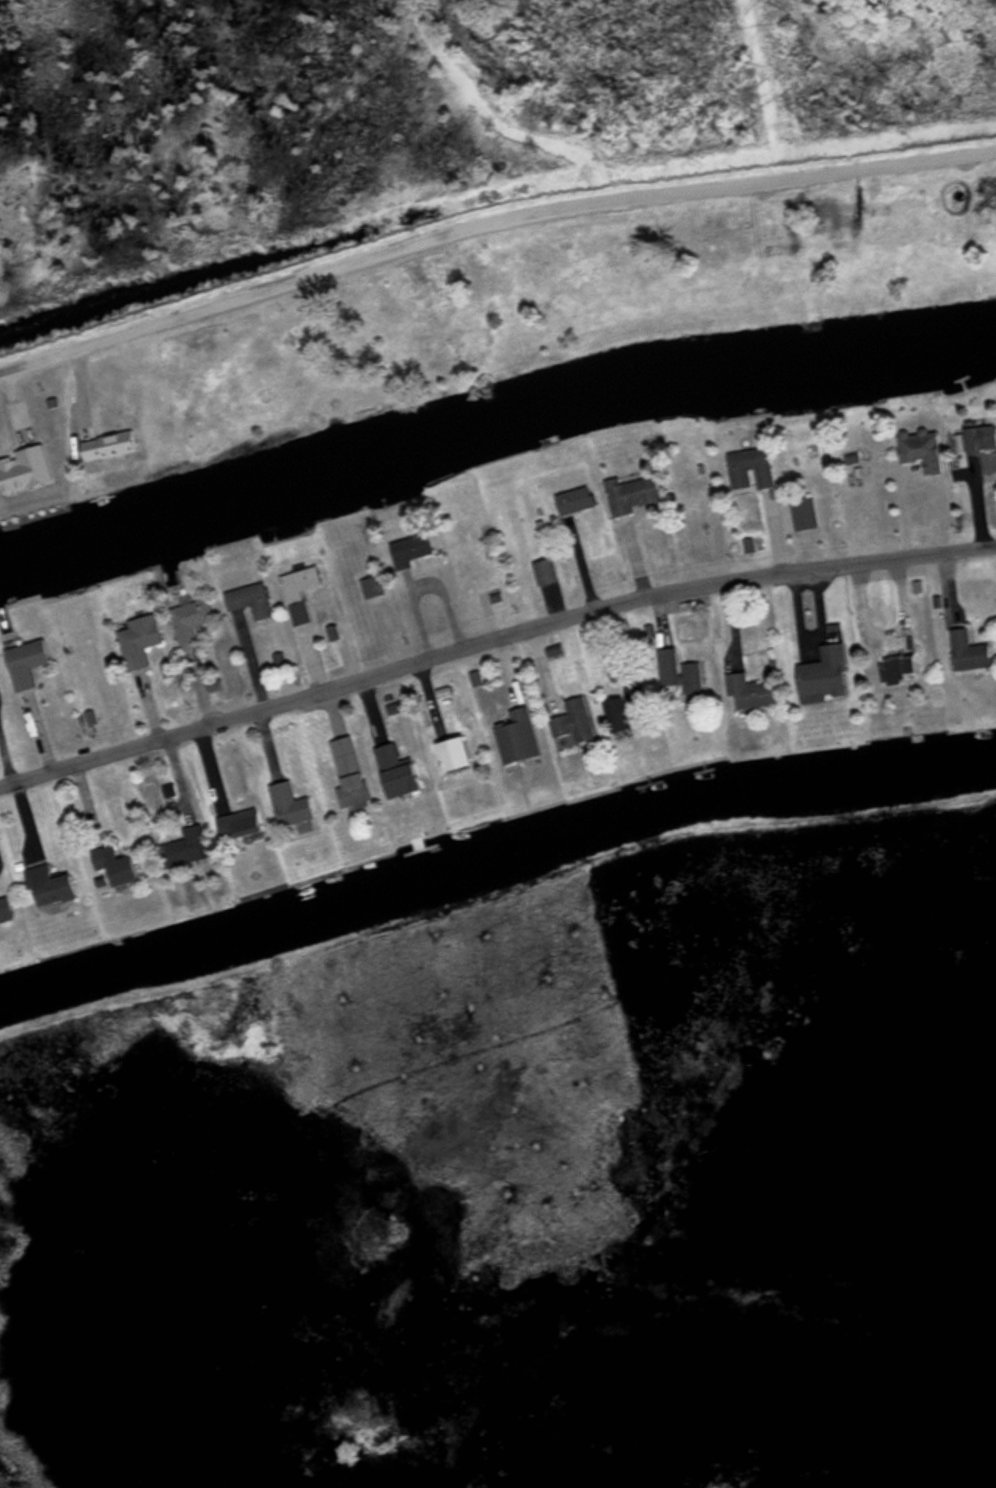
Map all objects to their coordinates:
road: (489, 219)
building: (979, 434)
building: (110, 443)
building: (926, 446)
building: (751, 466)
building: (25, 467)
building: (634, 490)
building: (576, 497)
building: (799, 513)
building: (413, 545)
building: (545, 569)
building: (300, 588)
building: (250, 598)
building: (190, 619)
building: (139, 639)
road: (492, 639)
building: (971, 649)
building: (28, 660)
building: (903, 666)
building: (826, 669)
building: (684, 674)
building: (750, 690)
building: (621, 705)
building: (573, 717)
building: (515, 733)
building: (449, 751)
building: (393, 768)
building: (348, 770)
building: (287, 802)
building: (236, 822)
building: (184, 846)
building: (112, 865)
building: (45, 883)
building: (4, 907)

